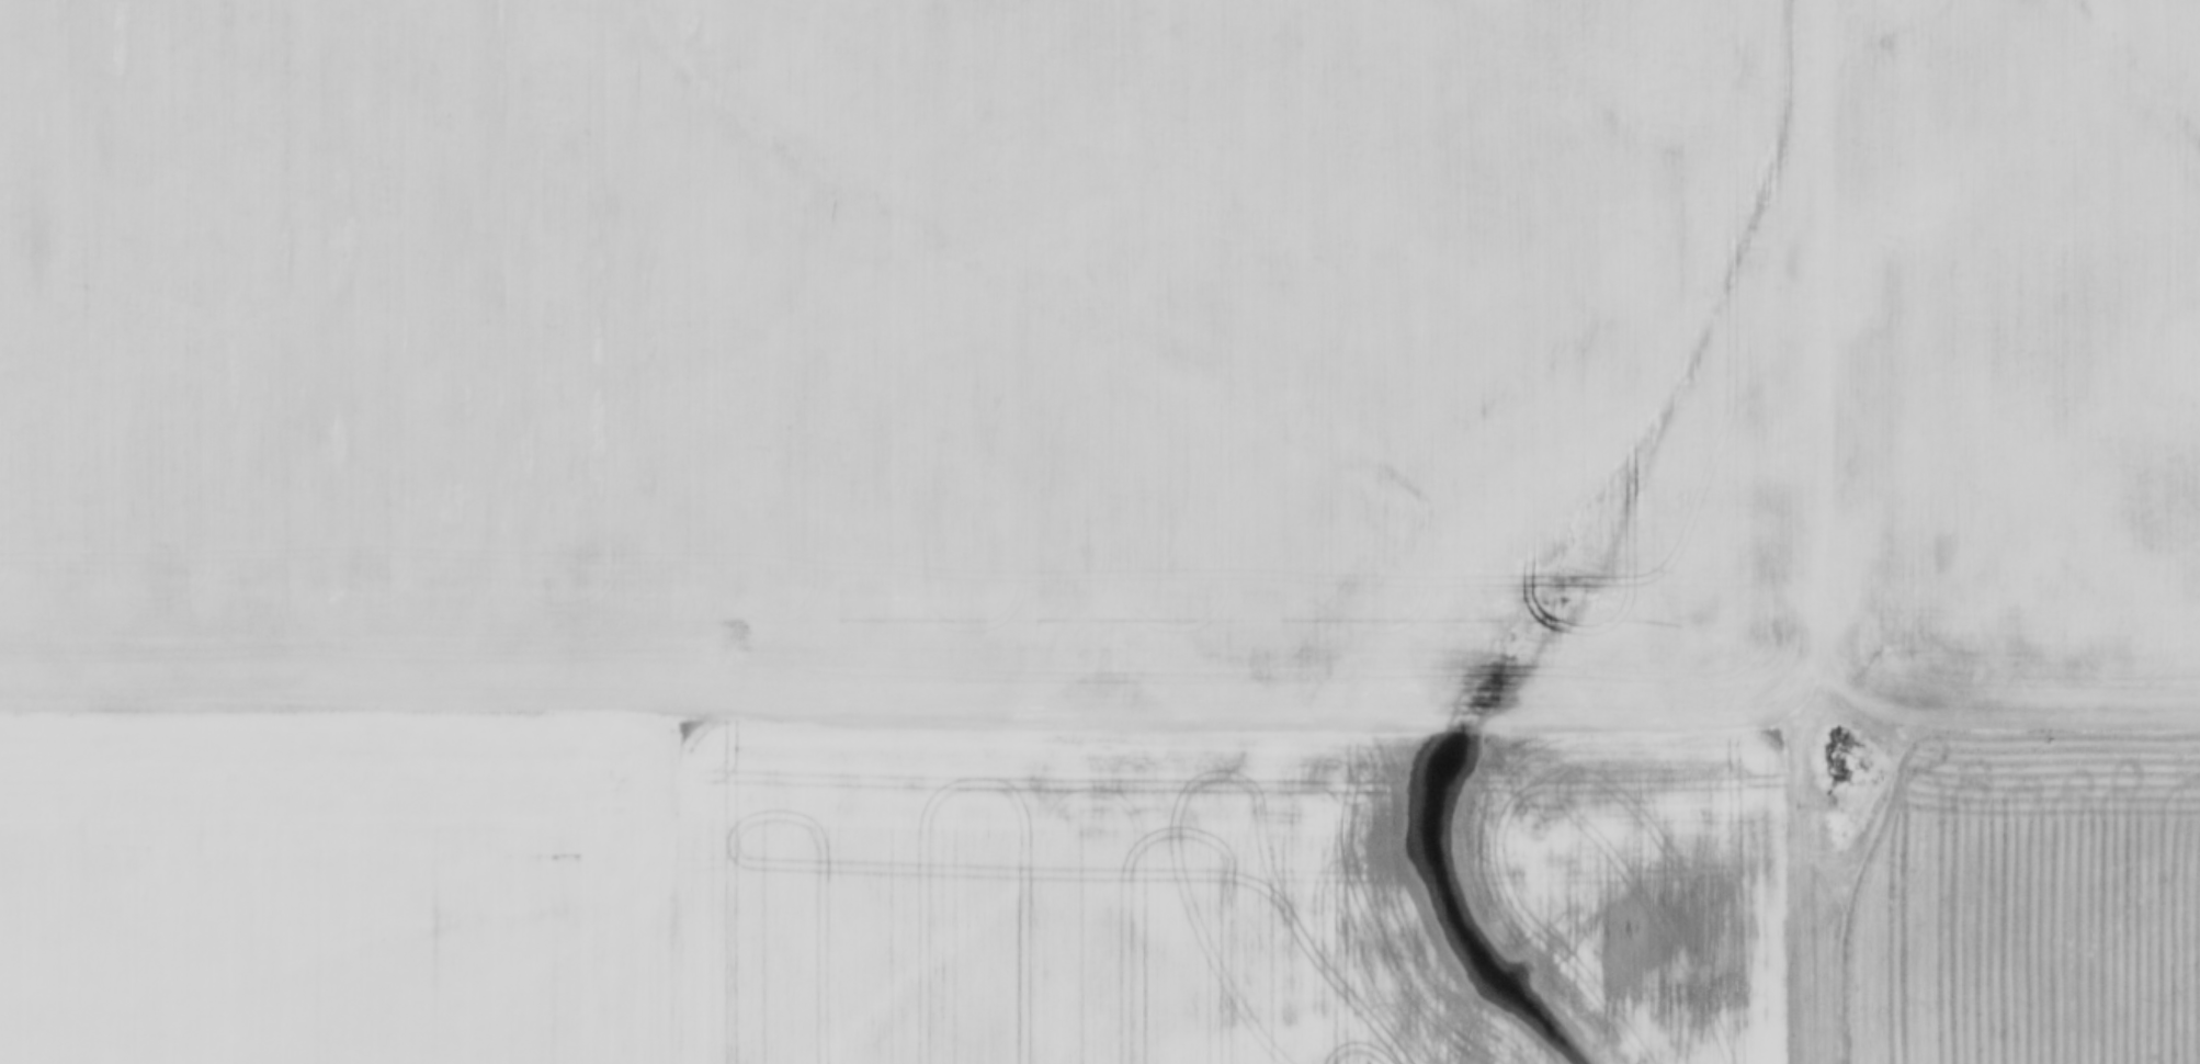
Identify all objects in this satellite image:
road: (1800, 897)

